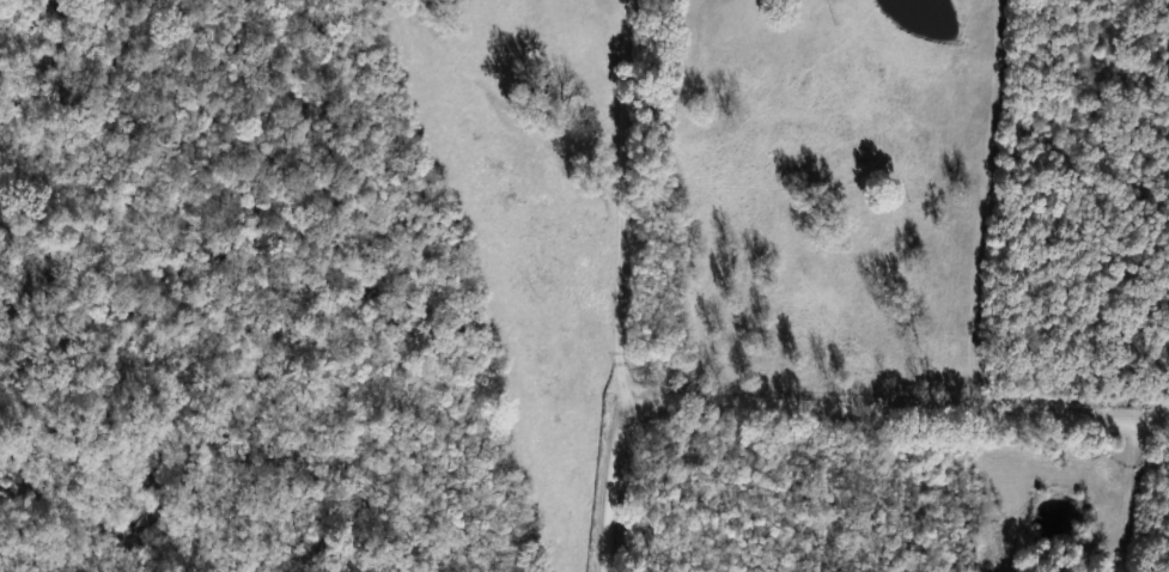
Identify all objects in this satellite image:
road: (614, 209)
road: (817, 404)
road: (1128, 498)

